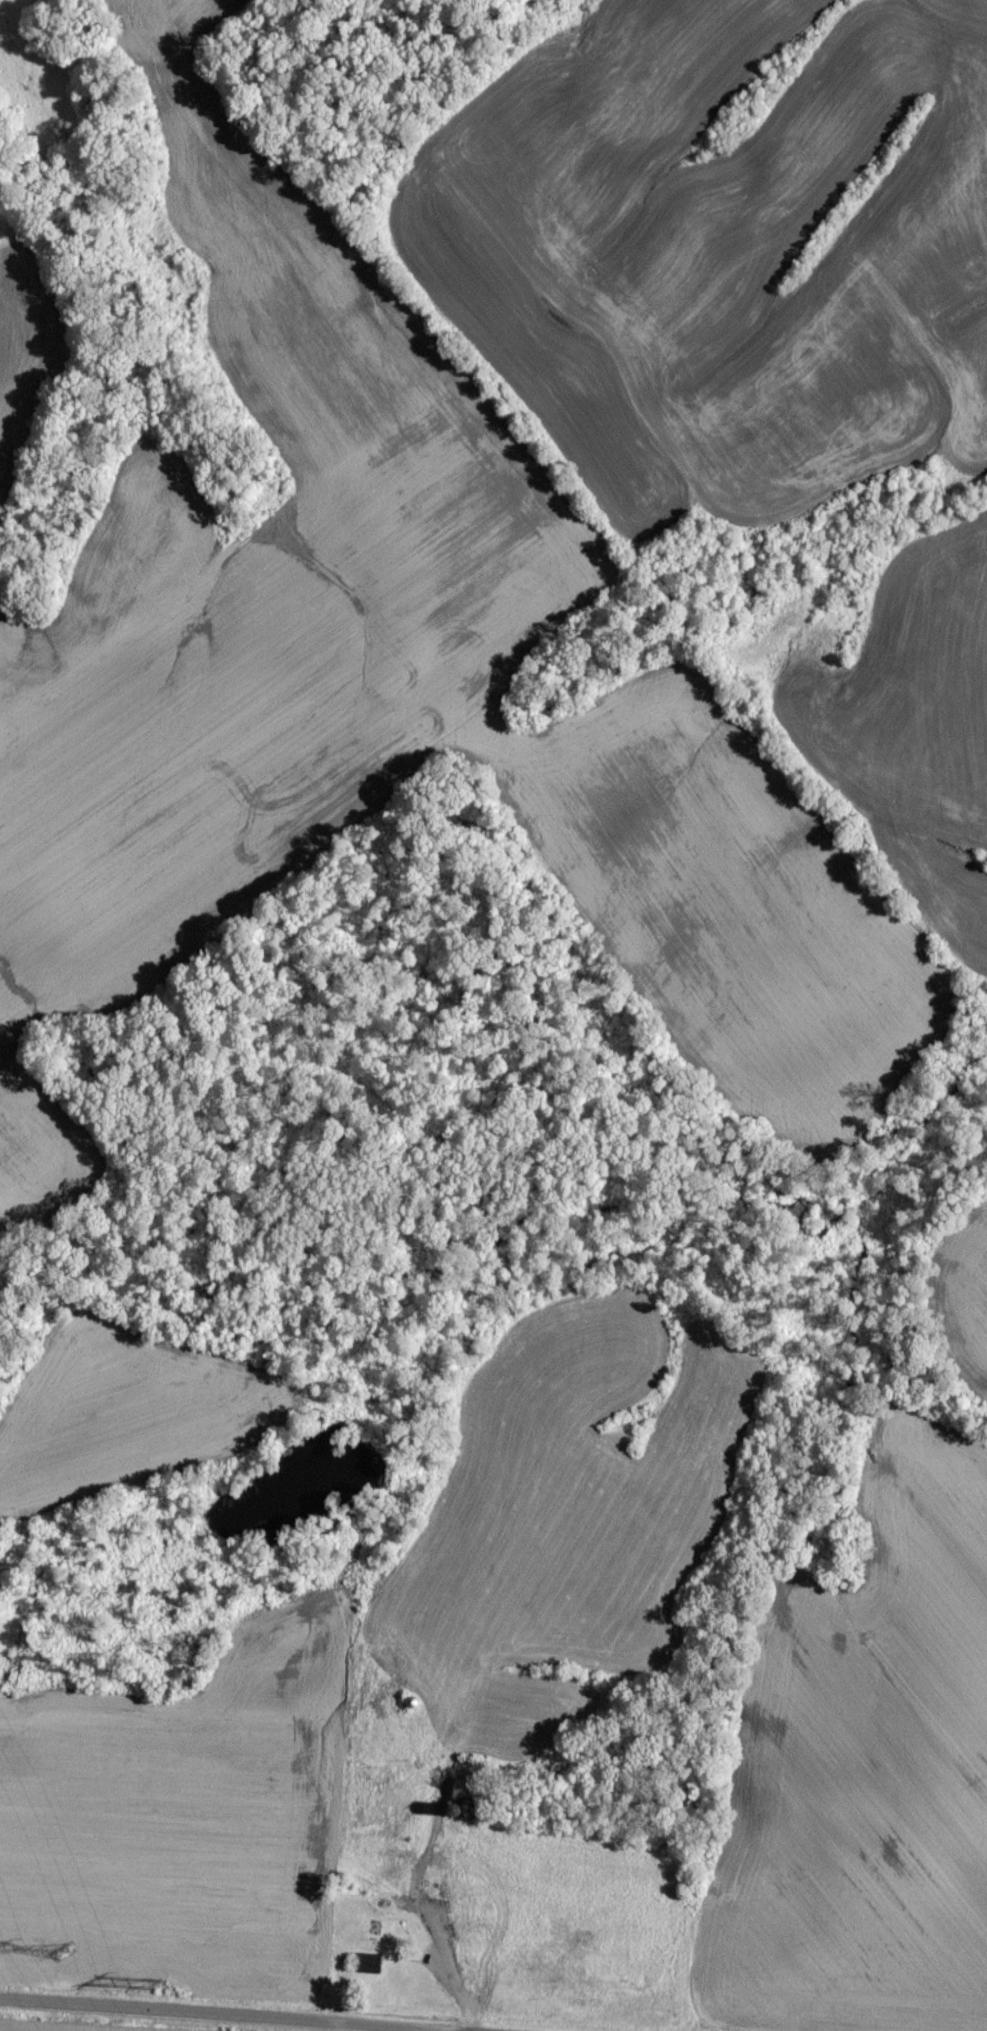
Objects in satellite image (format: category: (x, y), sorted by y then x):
power tower: (59, 1957)
building: (362, 1970)
power tower: (150, 1992)
road: (251, 2012)

